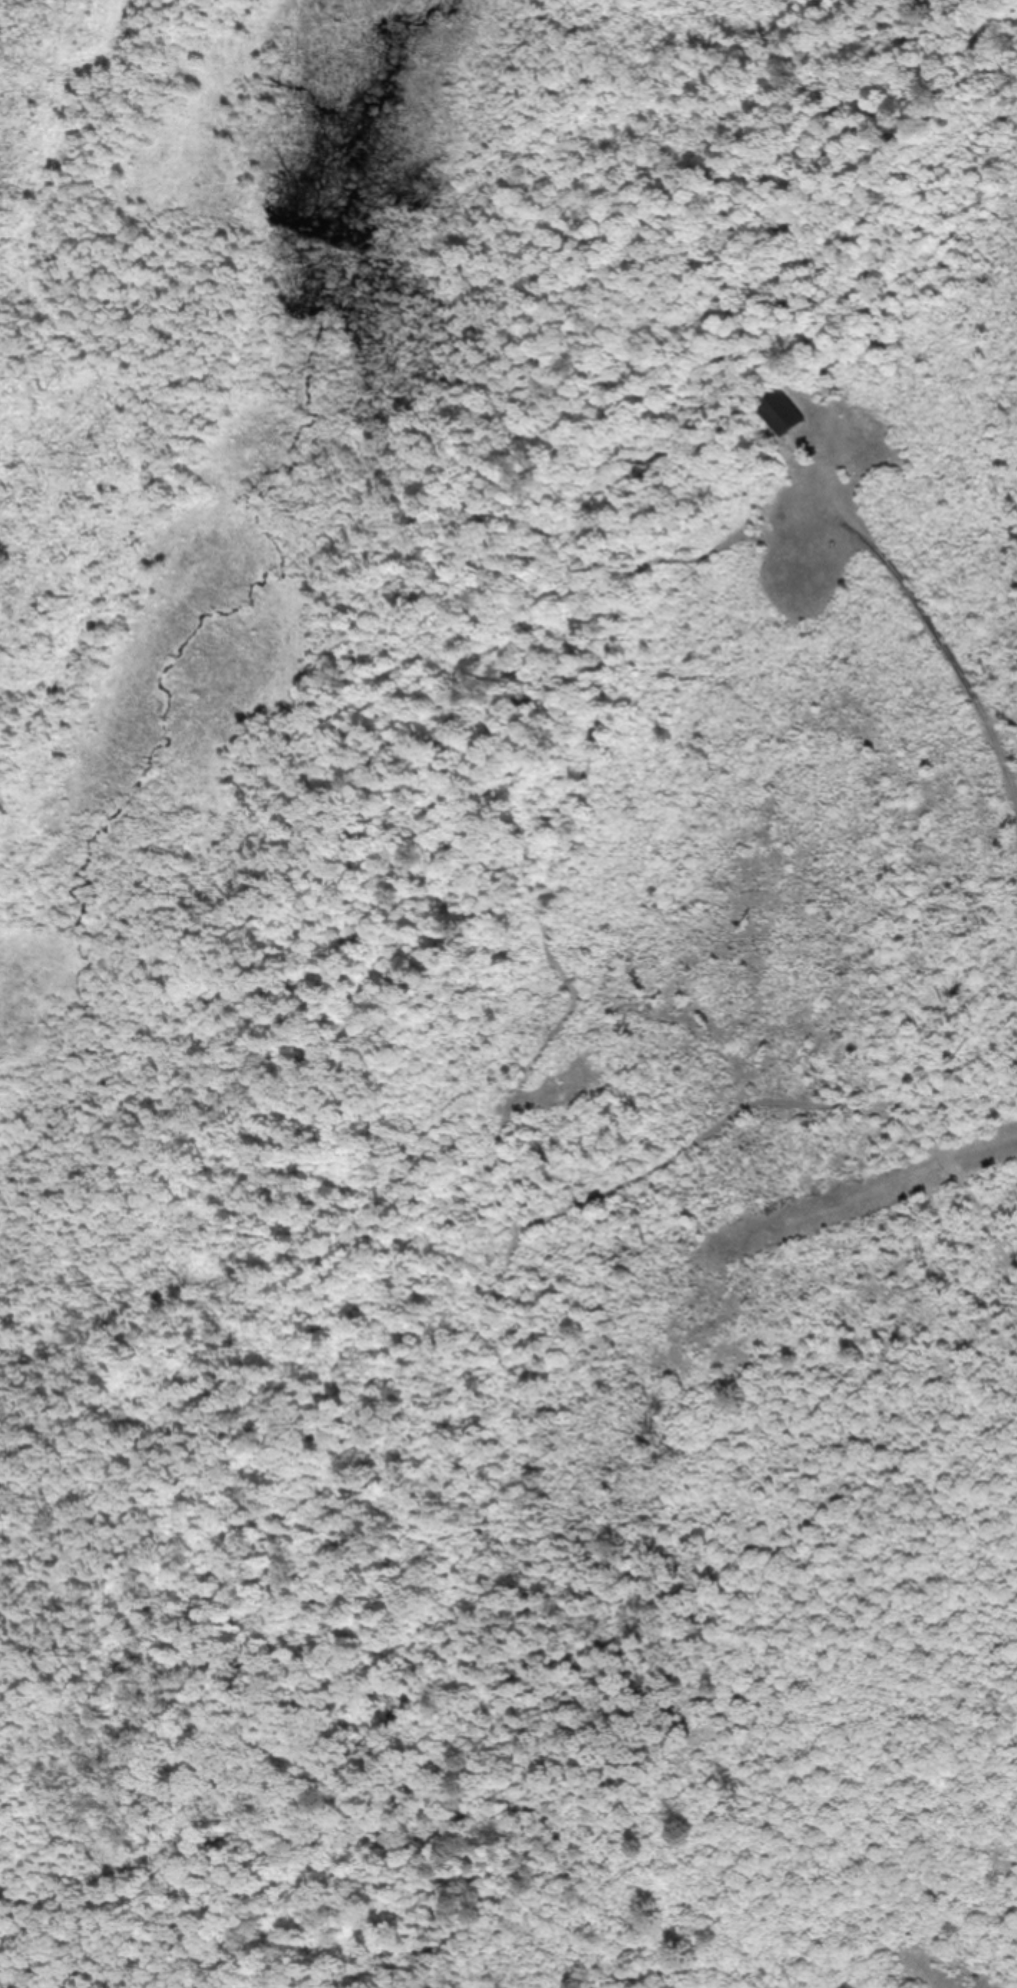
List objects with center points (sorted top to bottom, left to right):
road: (875, 1191)
road: (2, 1964)

